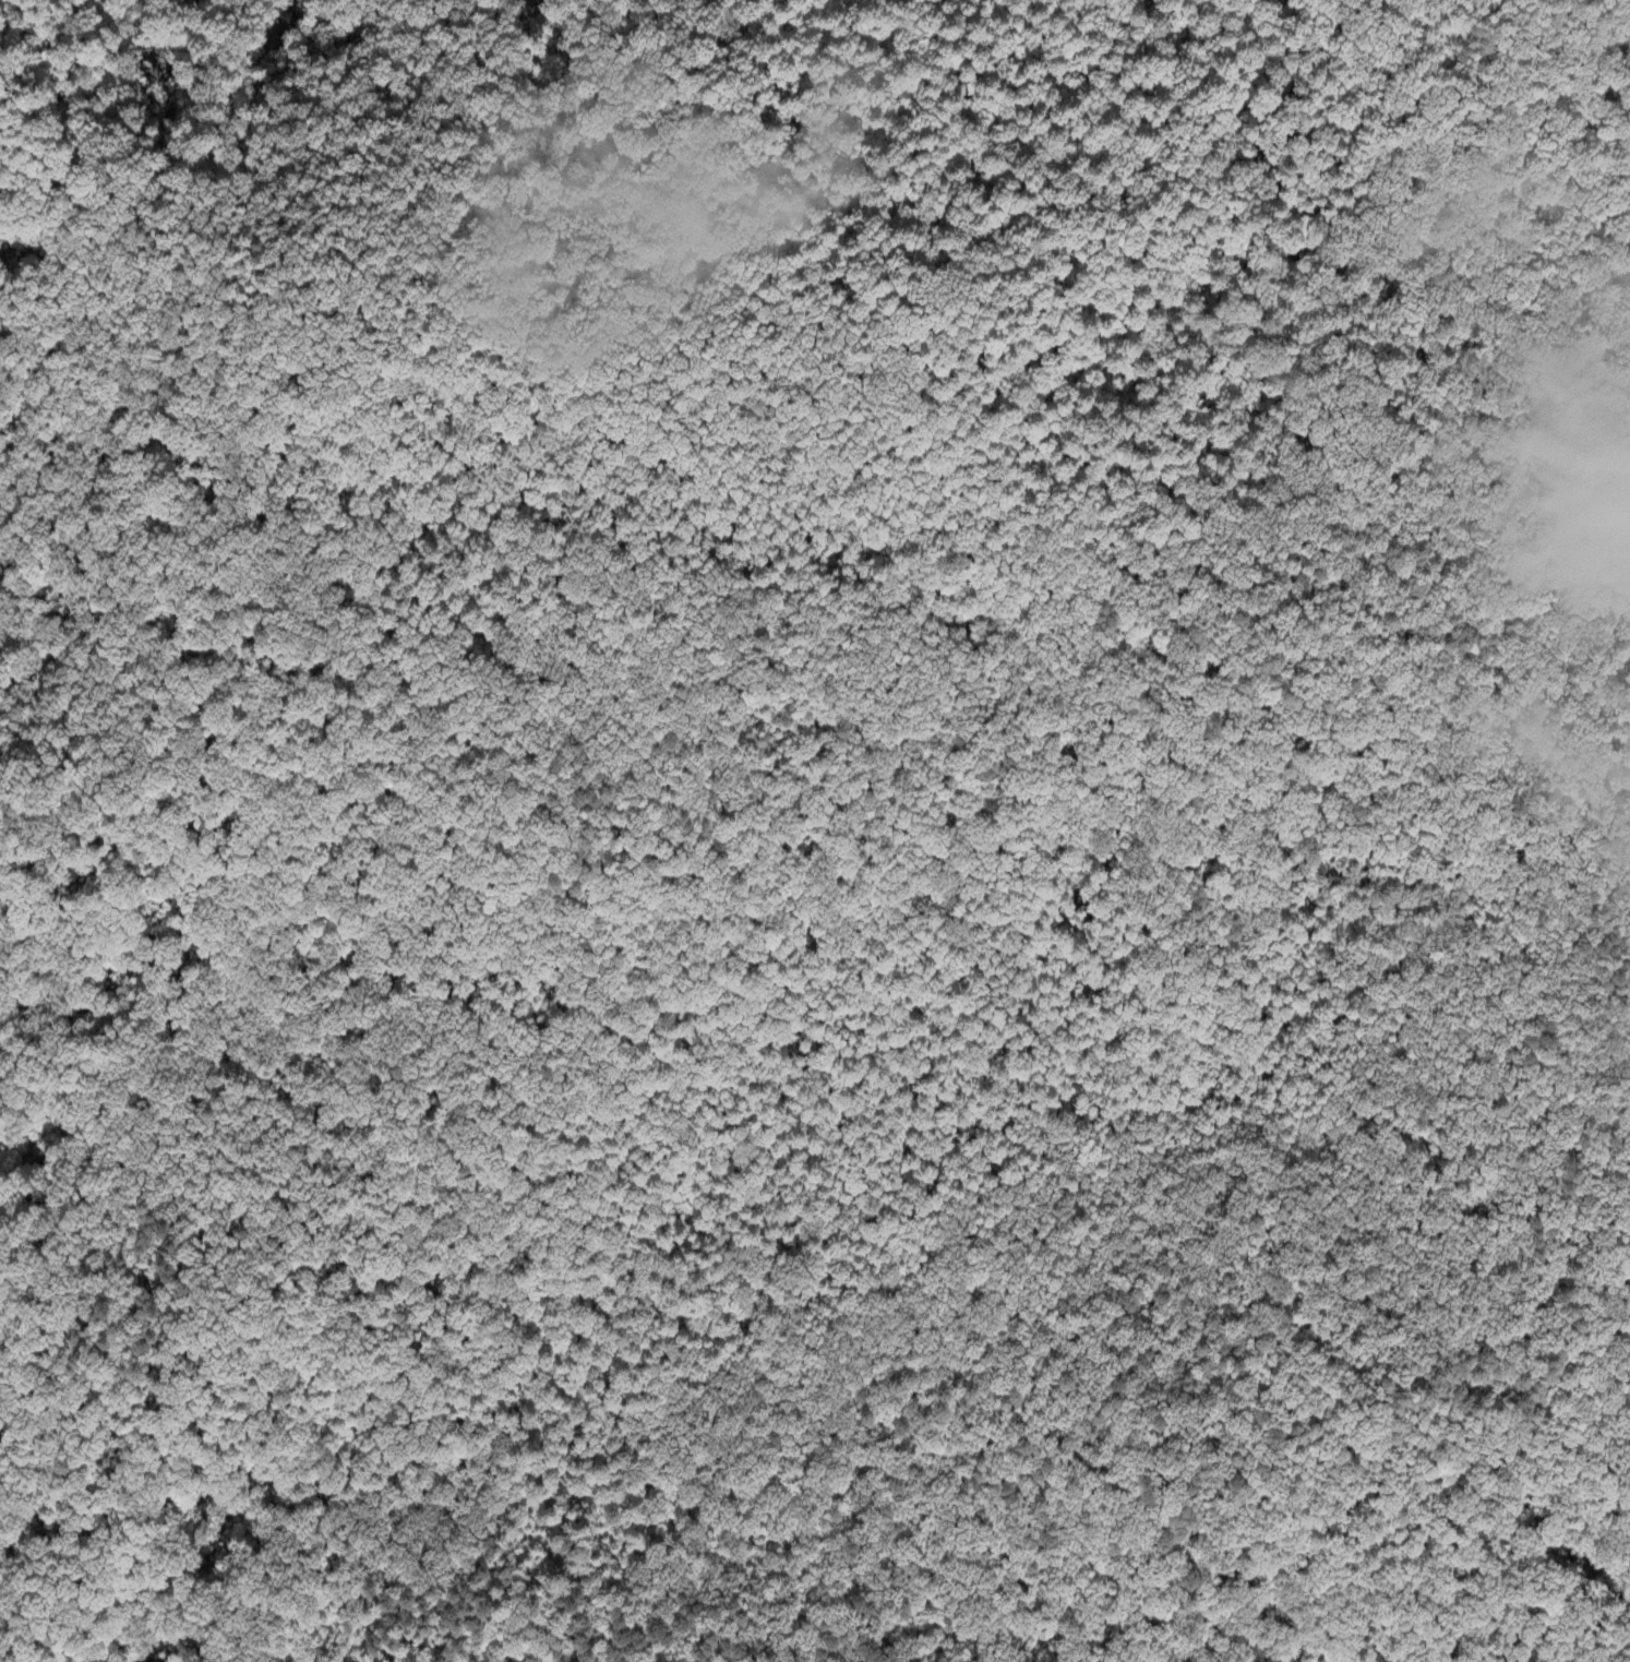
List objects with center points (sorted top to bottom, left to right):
road: (1622, 10)
road: (1244, 74)
road: (1007, 116)
road: (1542, 266)

